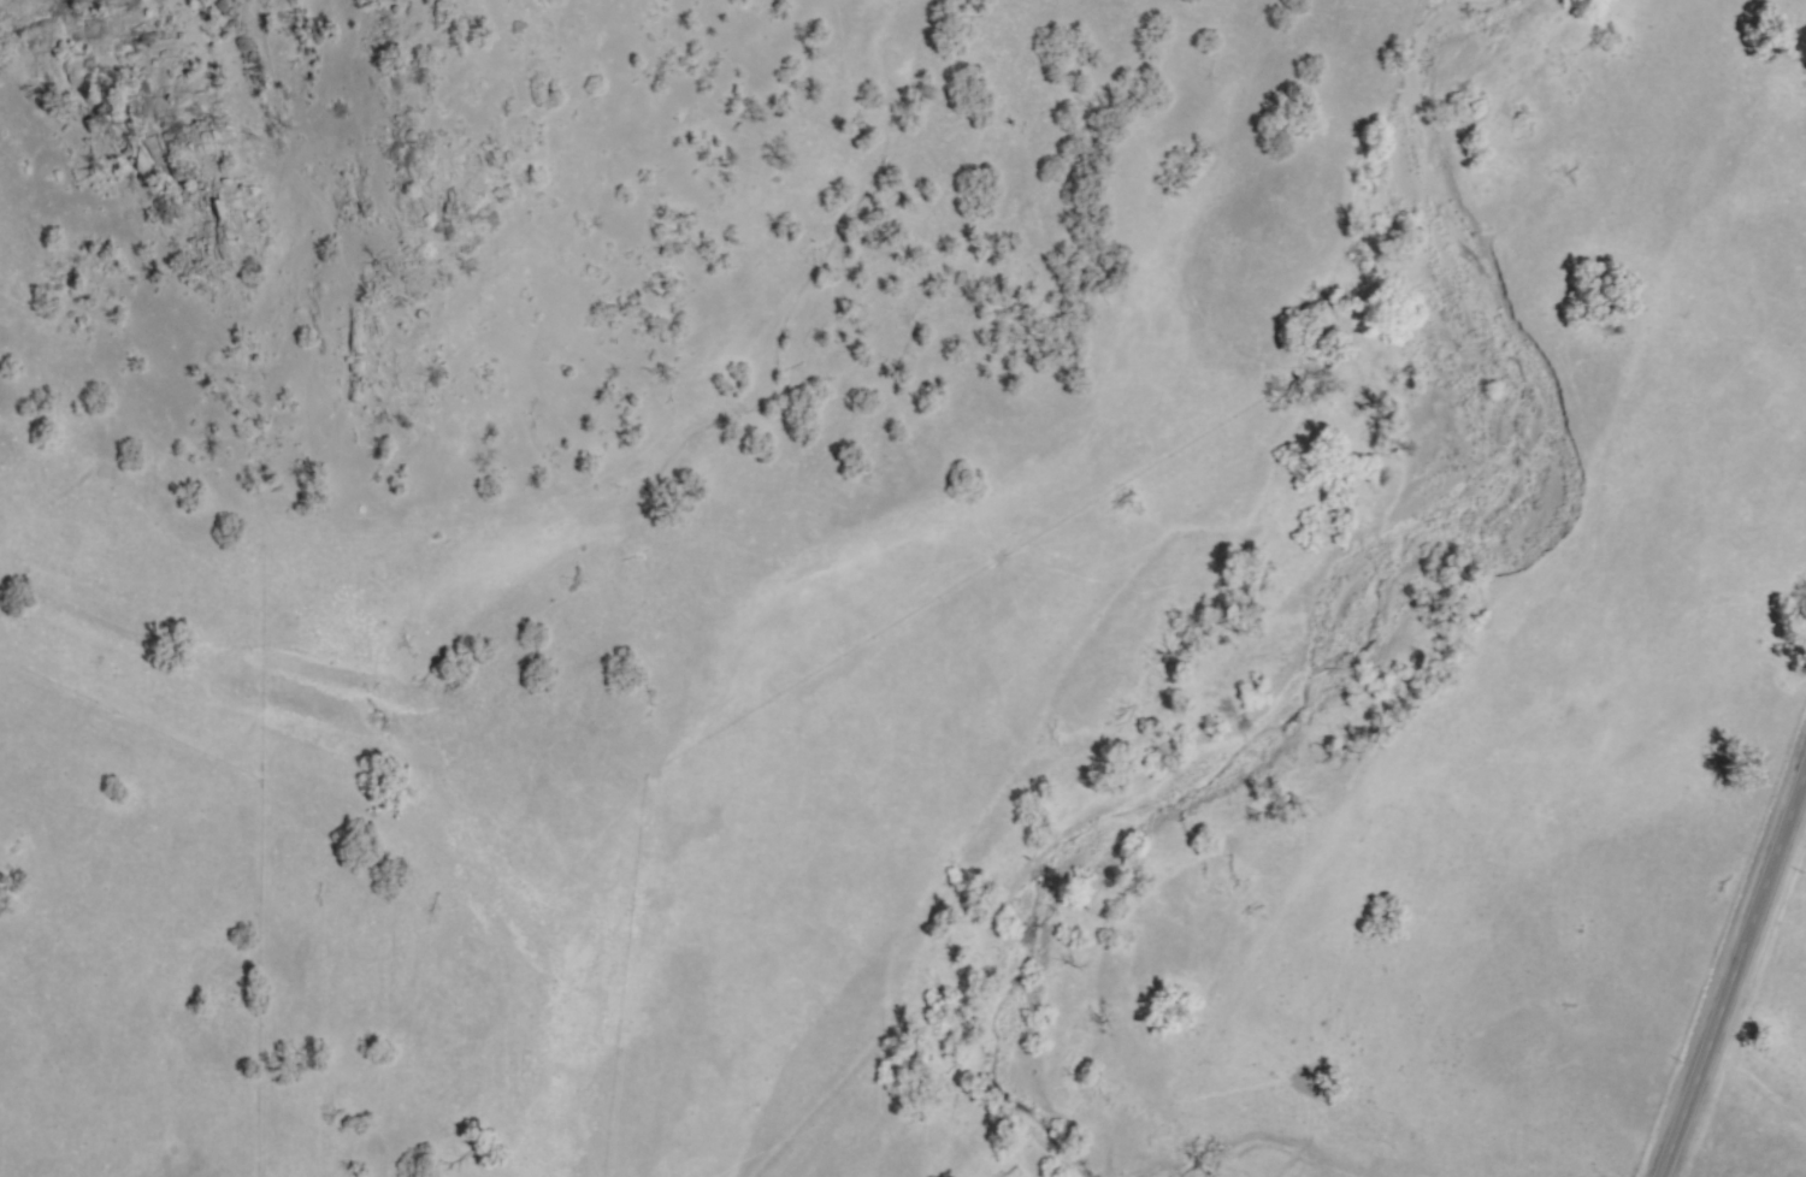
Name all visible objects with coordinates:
crop: (616, 596)
crop: (1518, 718)
road: (1729, 981)

